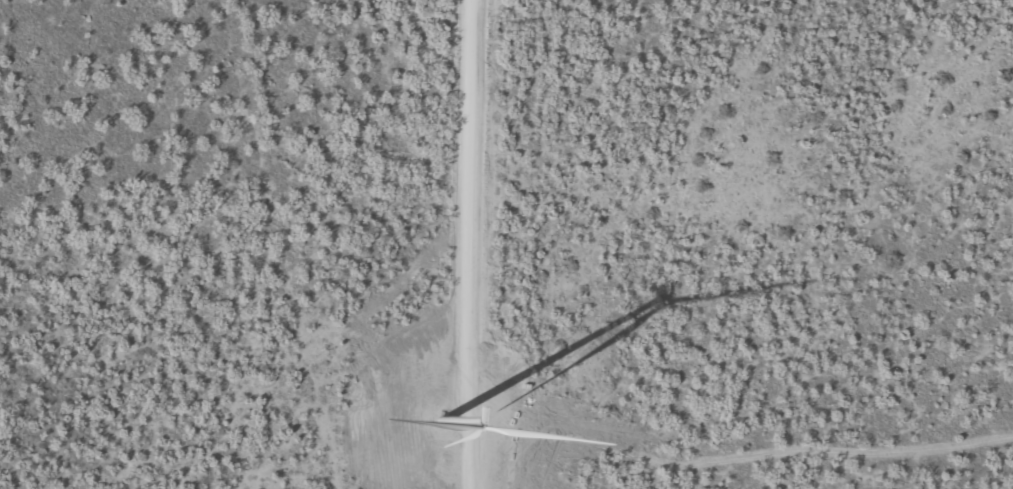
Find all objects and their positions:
road: (447, 244)
wind turbine: (481, 420)

